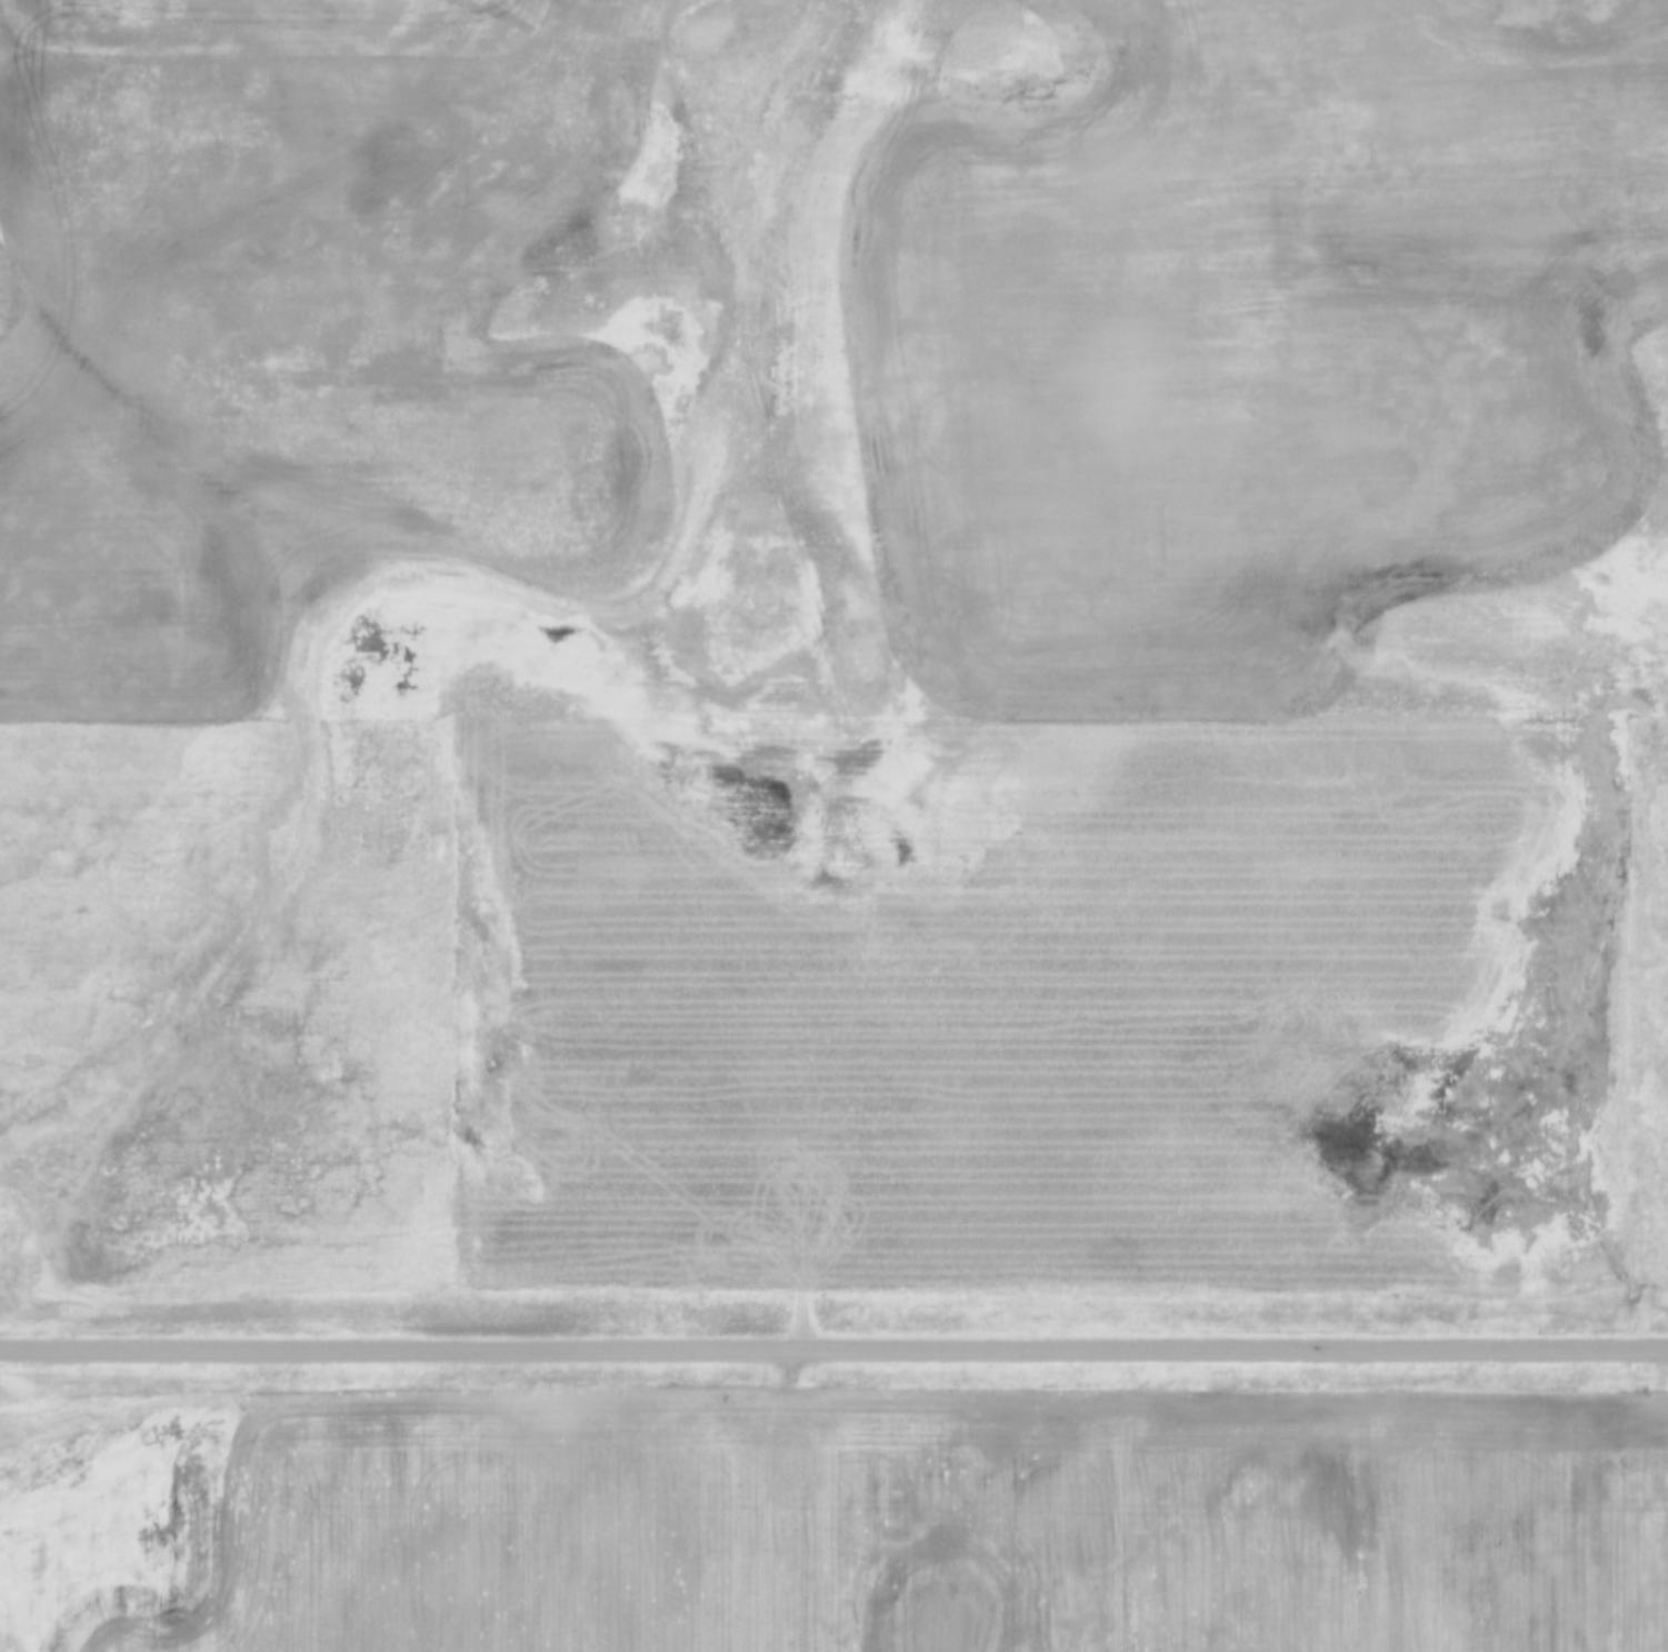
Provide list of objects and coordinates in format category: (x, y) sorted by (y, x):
road: (833, 1351)

